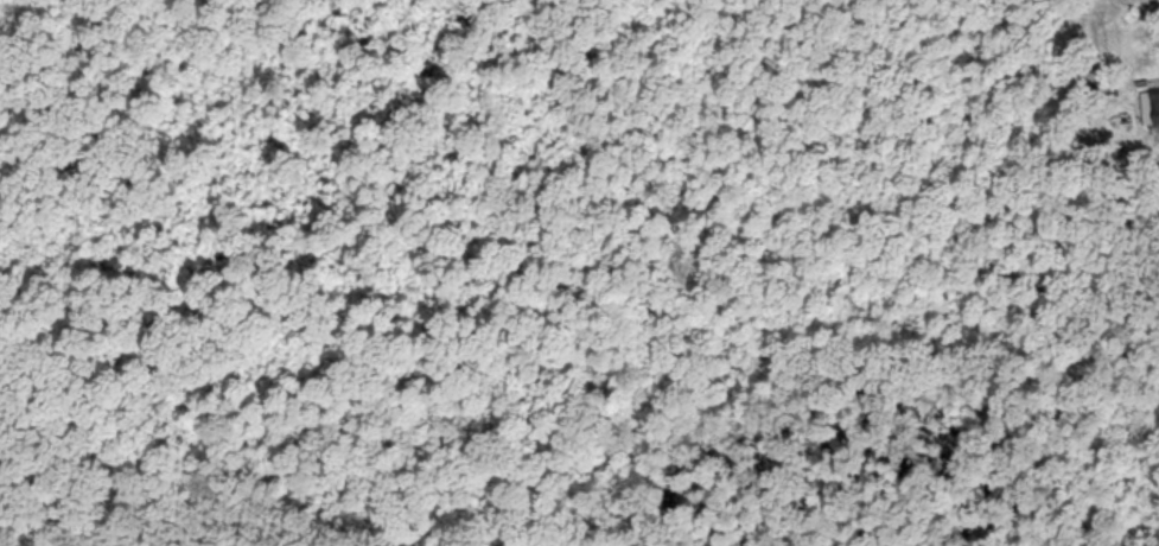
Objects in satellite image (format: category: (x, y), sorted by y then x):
building: (1154, 110)

